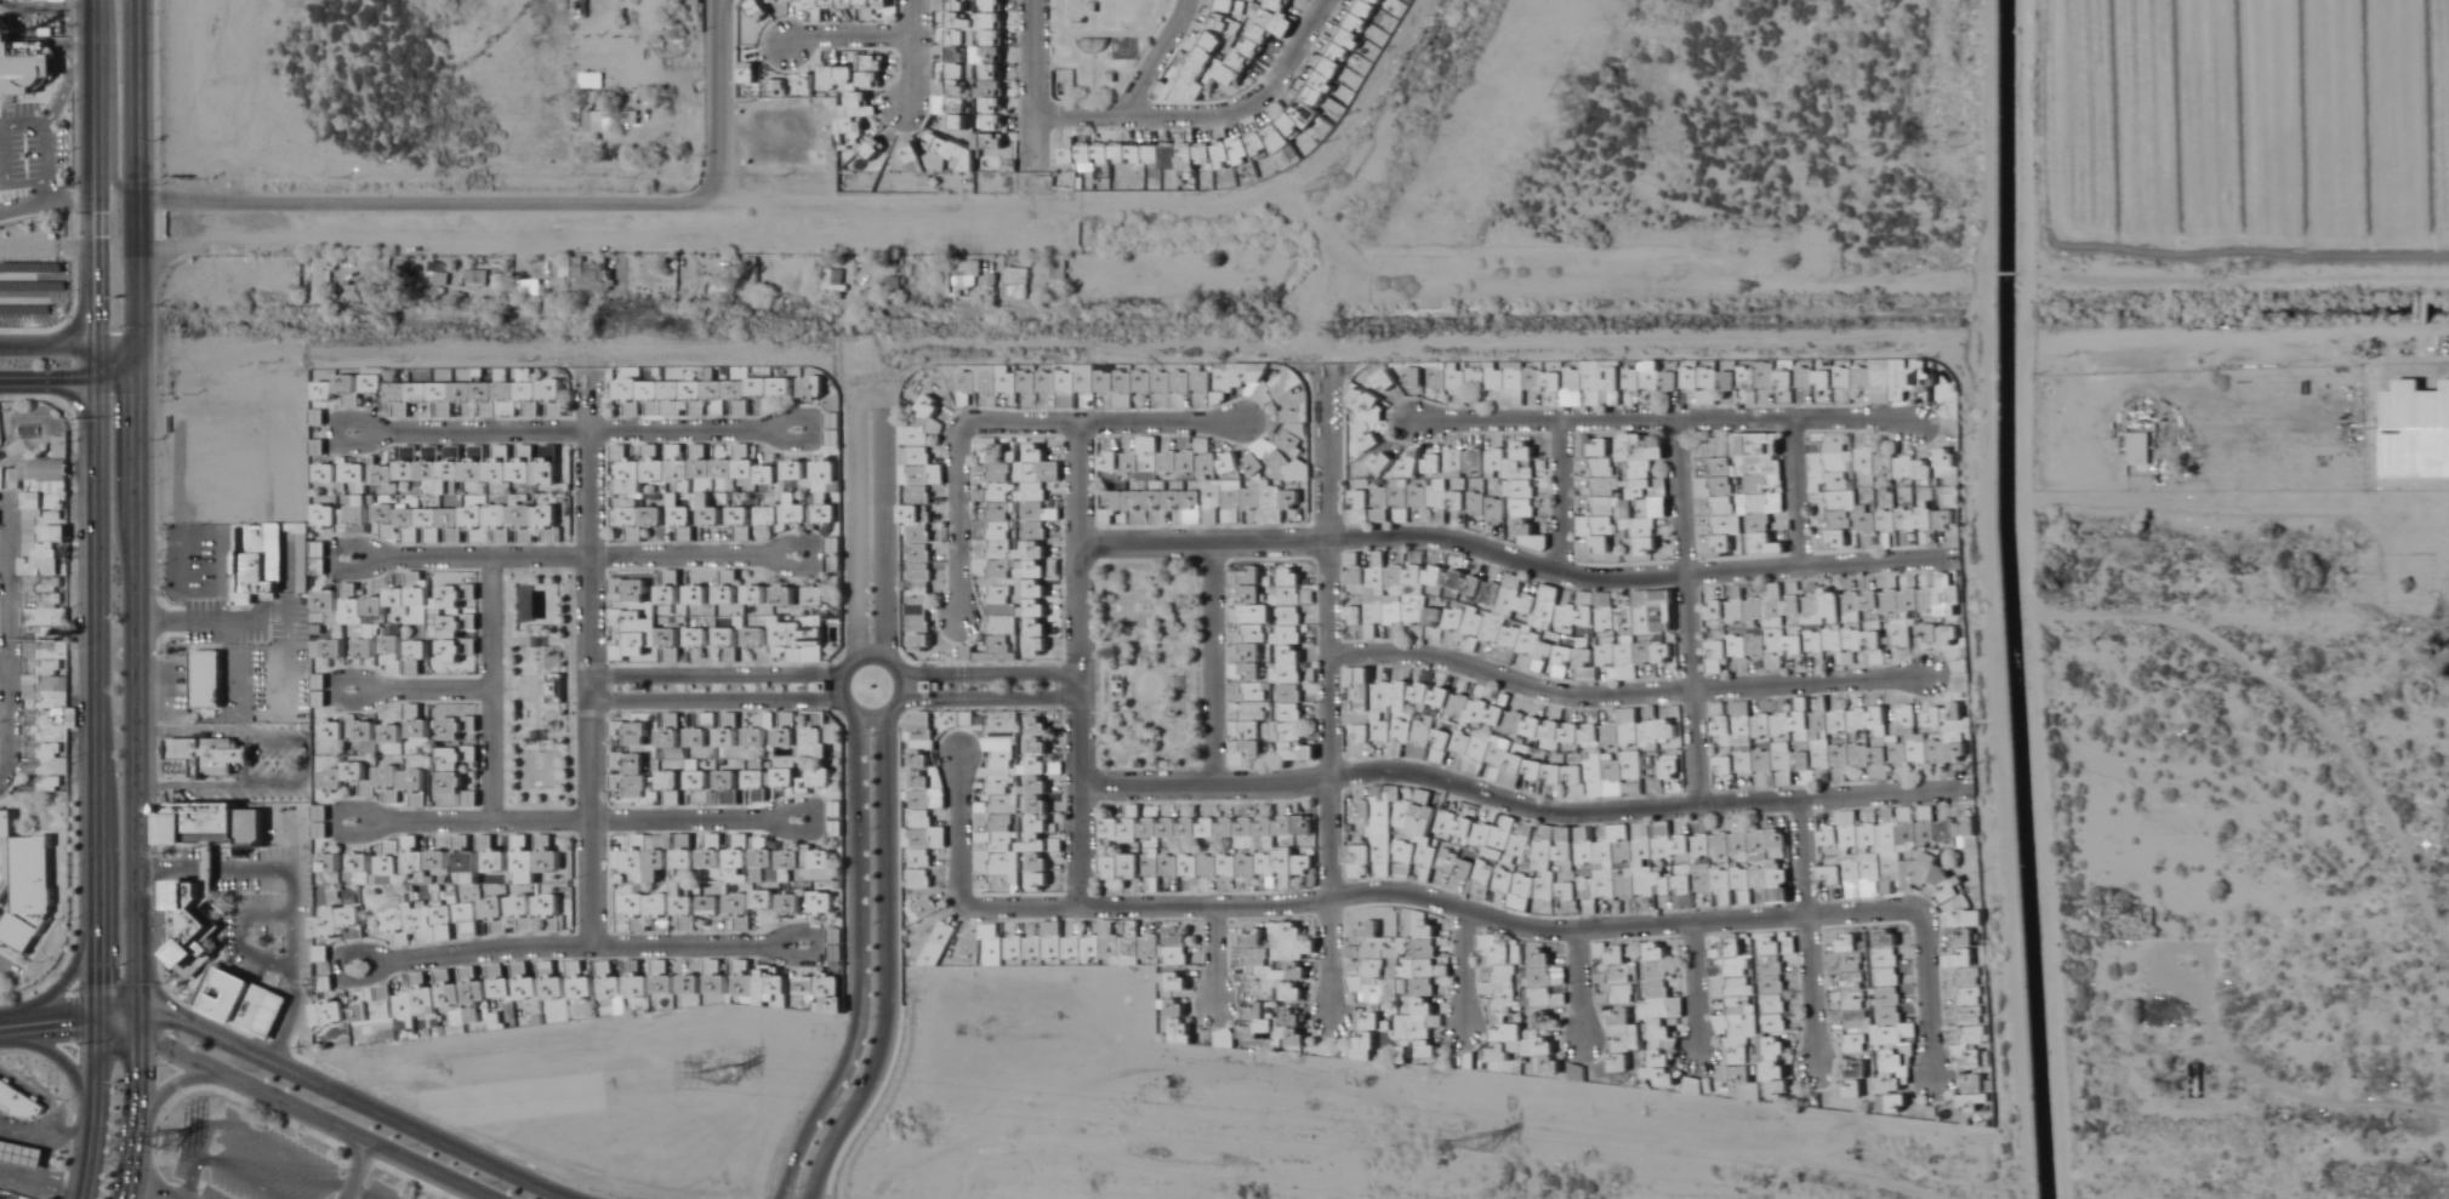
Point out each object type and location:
park: (1101, 42)
park: (1150, 660)
park: (542, 683)
power tower: (740, 1081)
power tower: (1497, 1144)
gas station: (22, 1151)
power tower: (184, 1157)

